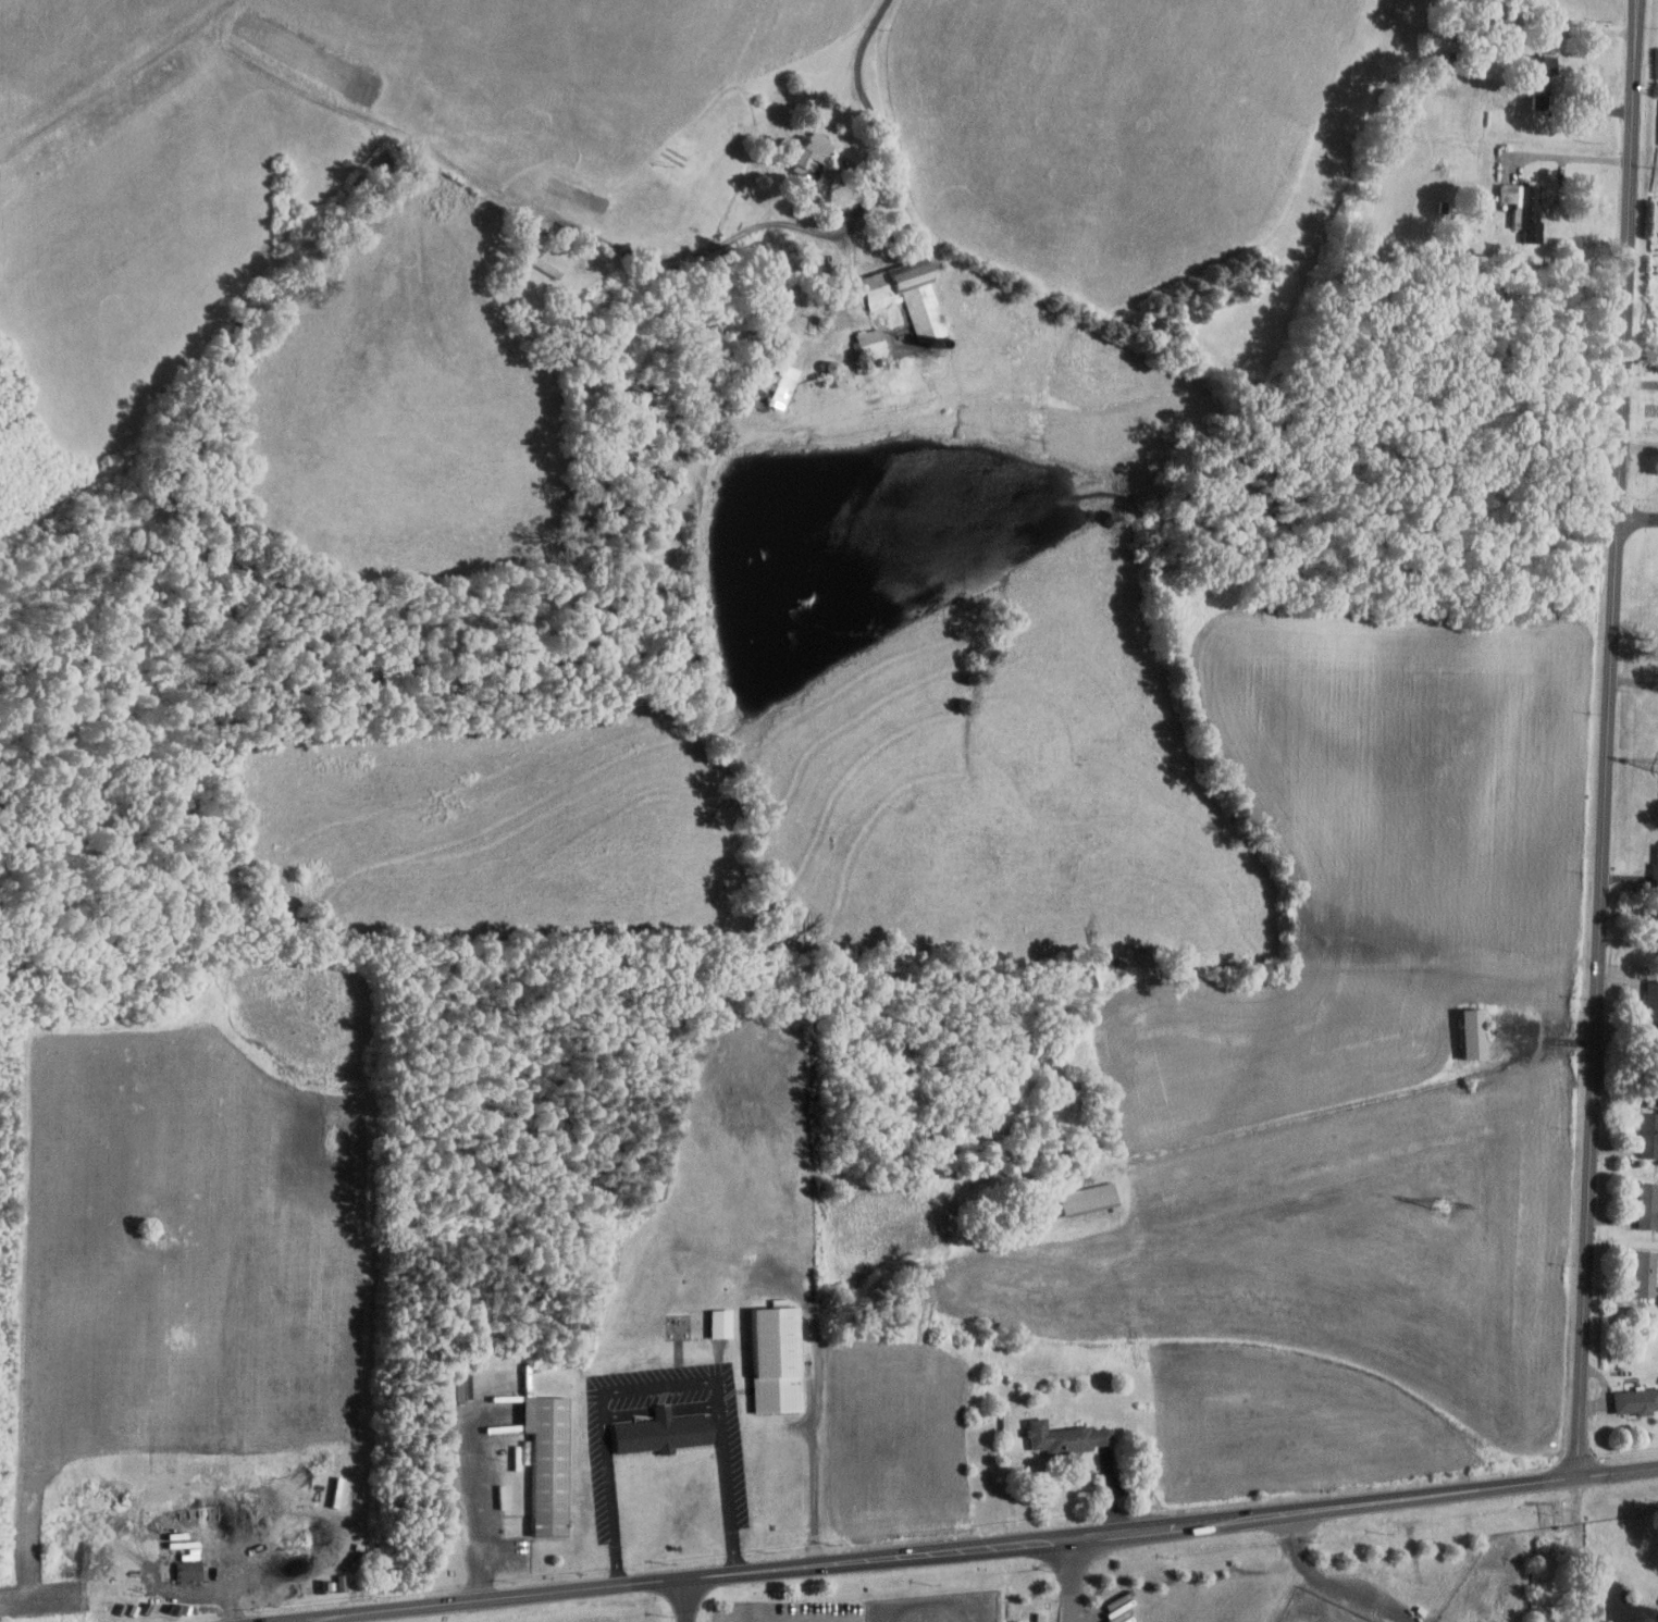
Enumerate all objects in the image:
building: (1538, 77)
building: (805, 156)
road: (1570, 156)
building: (1522, 211)
road: (826, 232)
building: (908, 298)
road: (849, 306)
building: (869, 339)
building: (781, 375)
road: (1638, 518)
road: (1610, 738)
crop: (1415, 787)
building: (1655, 868)
building: (1656, 938)
building: (1651, 1000)
building: (1470, 1033)
crop: (1263, 1049)
building: (1648, 1135)
building: (1087, 1198)
building: (1647, 1205)
building: (1645, 1273)
crop: (1359, 1287)
building: (718, 1323)
building: (774, 1359)
road: (660, 1386)
building: (1635, 1400)
building: (660, 1434)
building: (1059, 1438)
building: (547, 1462)
road: (1618, 1471)
road: (816, 1476)
road: (471, 1491)
road: (936, 1553)
building: (188, 1570)
road: (1071, 1581)
road: (1331, 1584)
road: (688, 1600)
road: (784, 1611)

